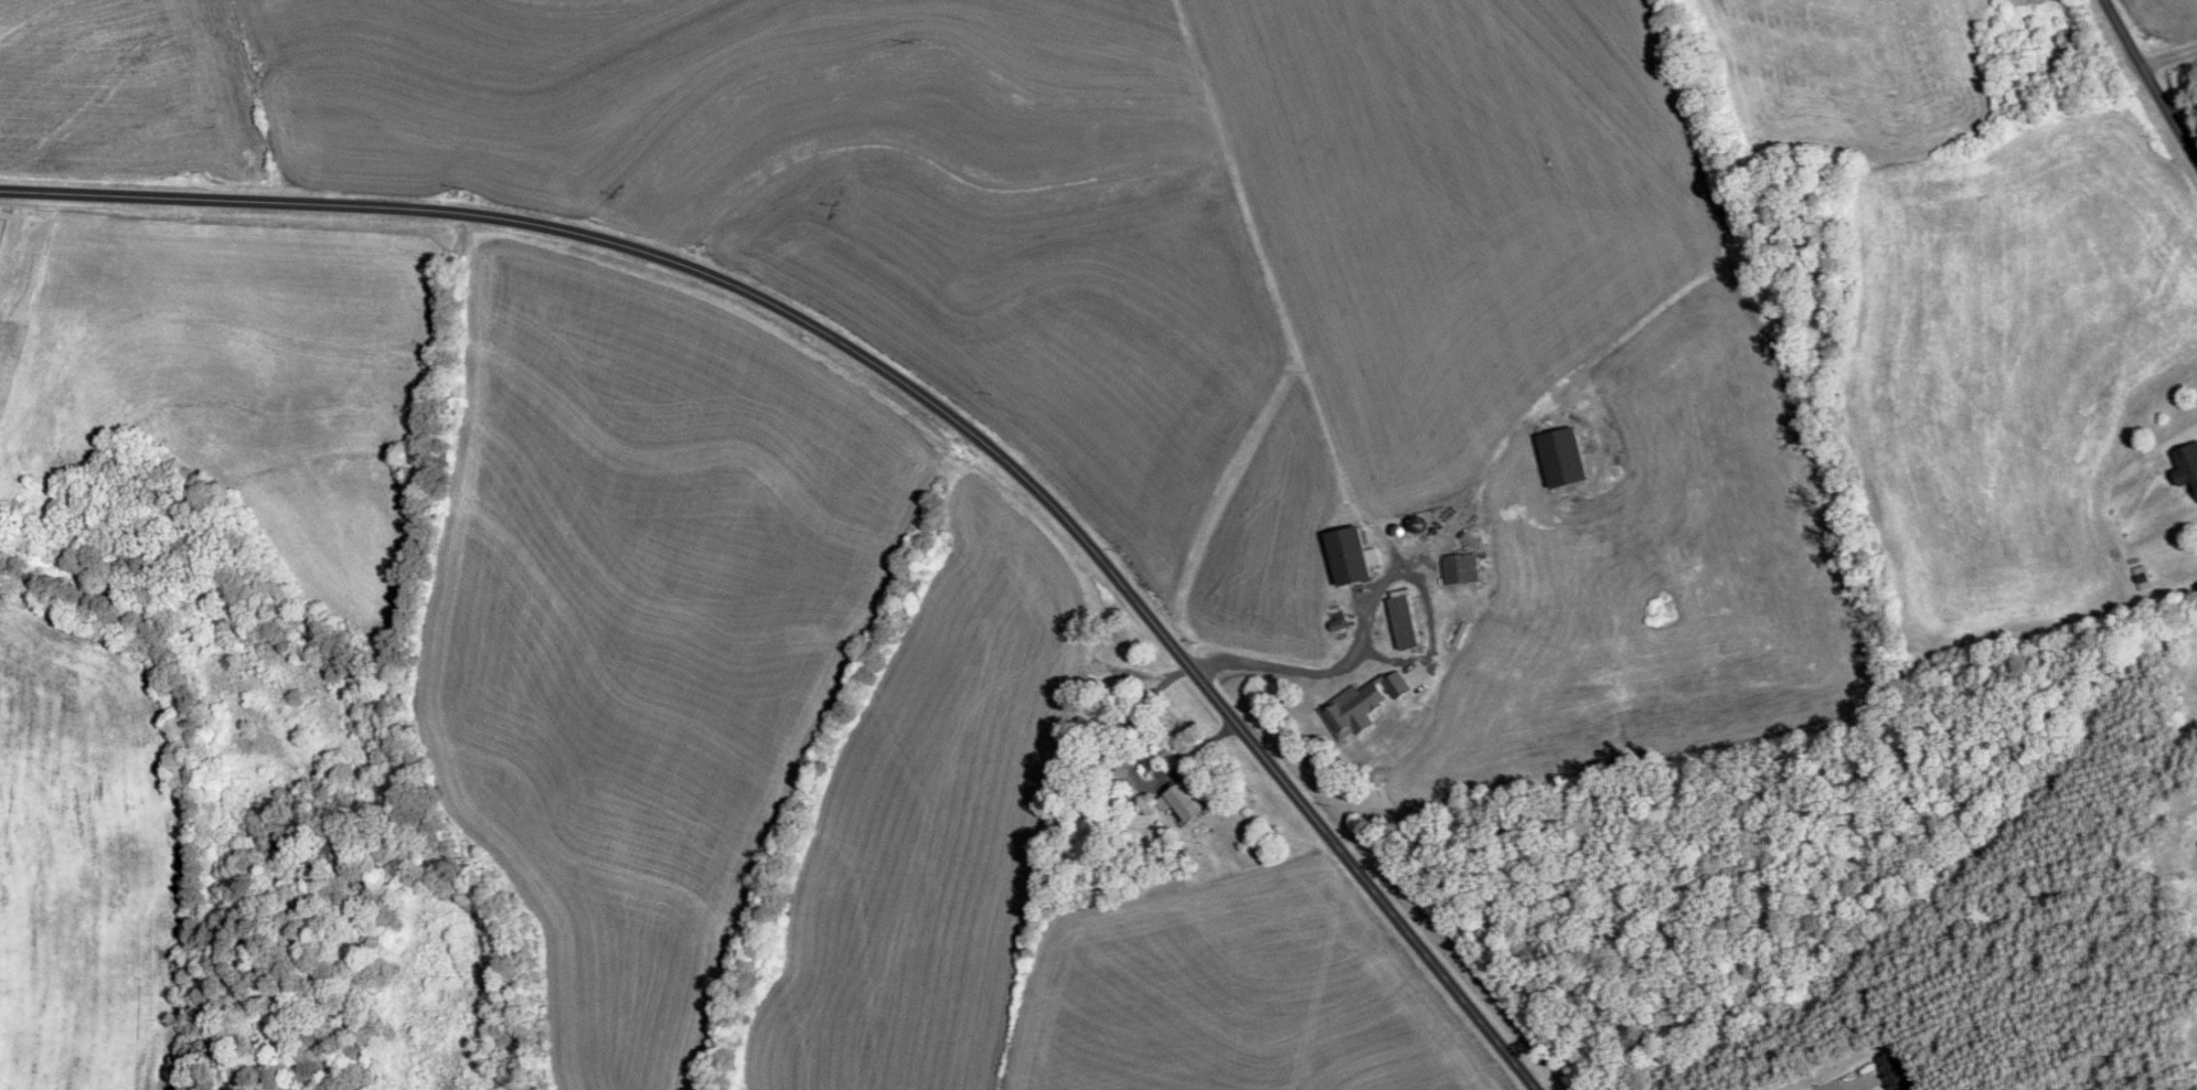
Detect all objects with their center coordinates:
road: (2167, 54)
road: (2150, 82)
road: (908, 385)
building: (1561, 458)
building: (2186, 467)
building: (0, 535)
building: (1346, 556)
building: (1459, 569)
road: (1375, 603)
building: (1404, 622)
building: (1343, 715)
building: (1150, 760)
building: (1184, 801)
building: (1895, 1072)
road: (1834, 1086)

